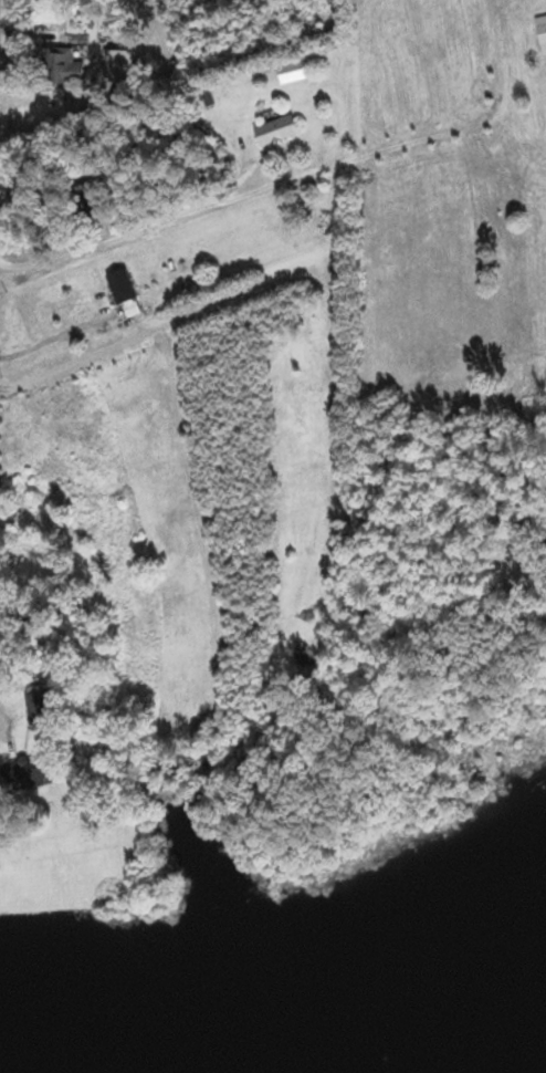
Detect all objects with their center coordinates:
building: (333, 1)
building: (117, 64)
building: (67, 66)
building: (277, 129)
road: (287, 156)
building: (91, 198)
building: (123, 287)
building: (28, 773)

